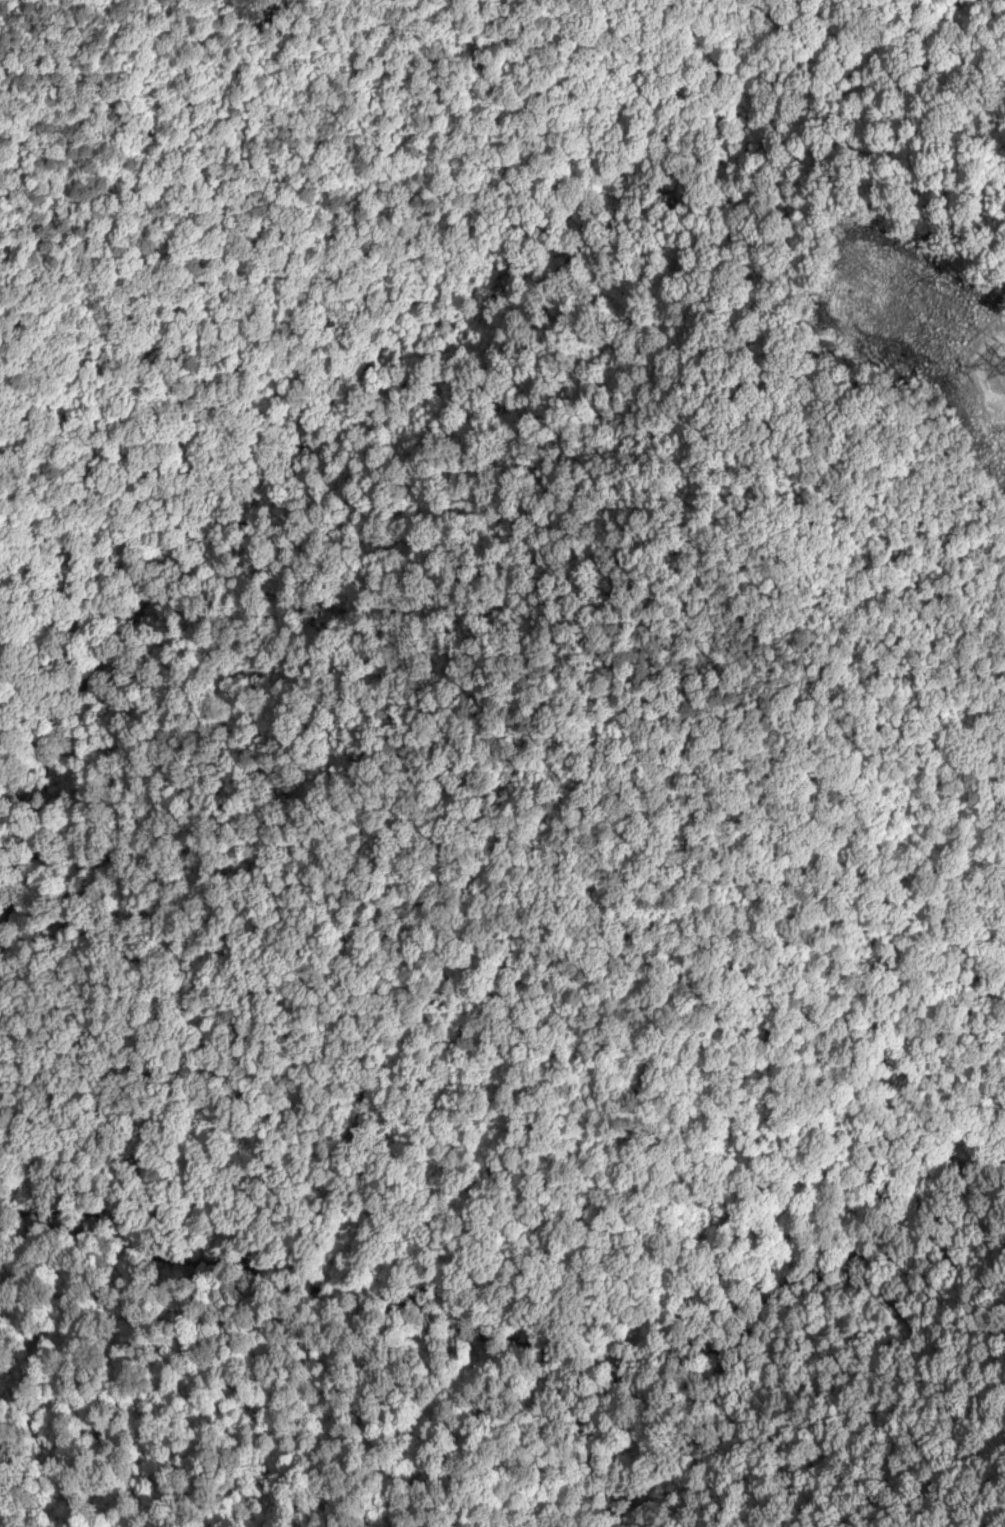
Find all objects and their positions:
road: (328, 1305)

